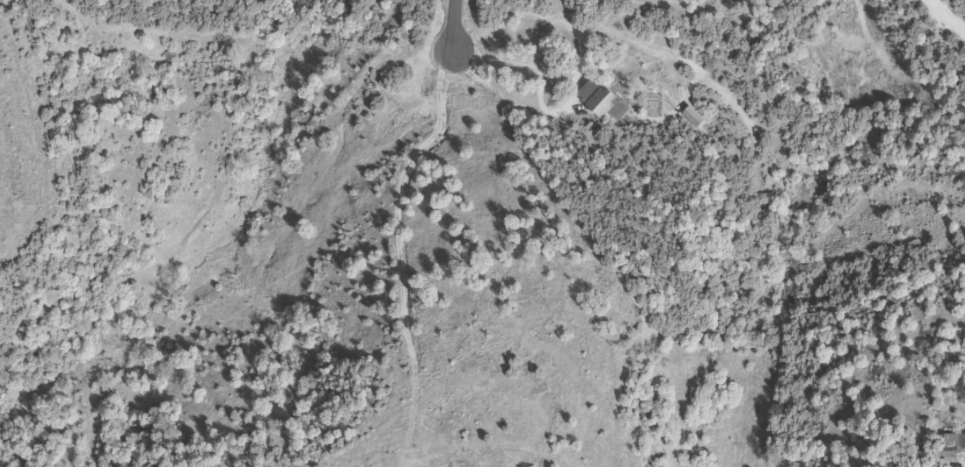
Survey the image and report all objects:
road: (454, 24)
road: (532, 64)
road: (513, 66)
road: (577, 72)
building: (601, 103)
road: (463, 444)
building: (952, 448)
building: (919, 460)

